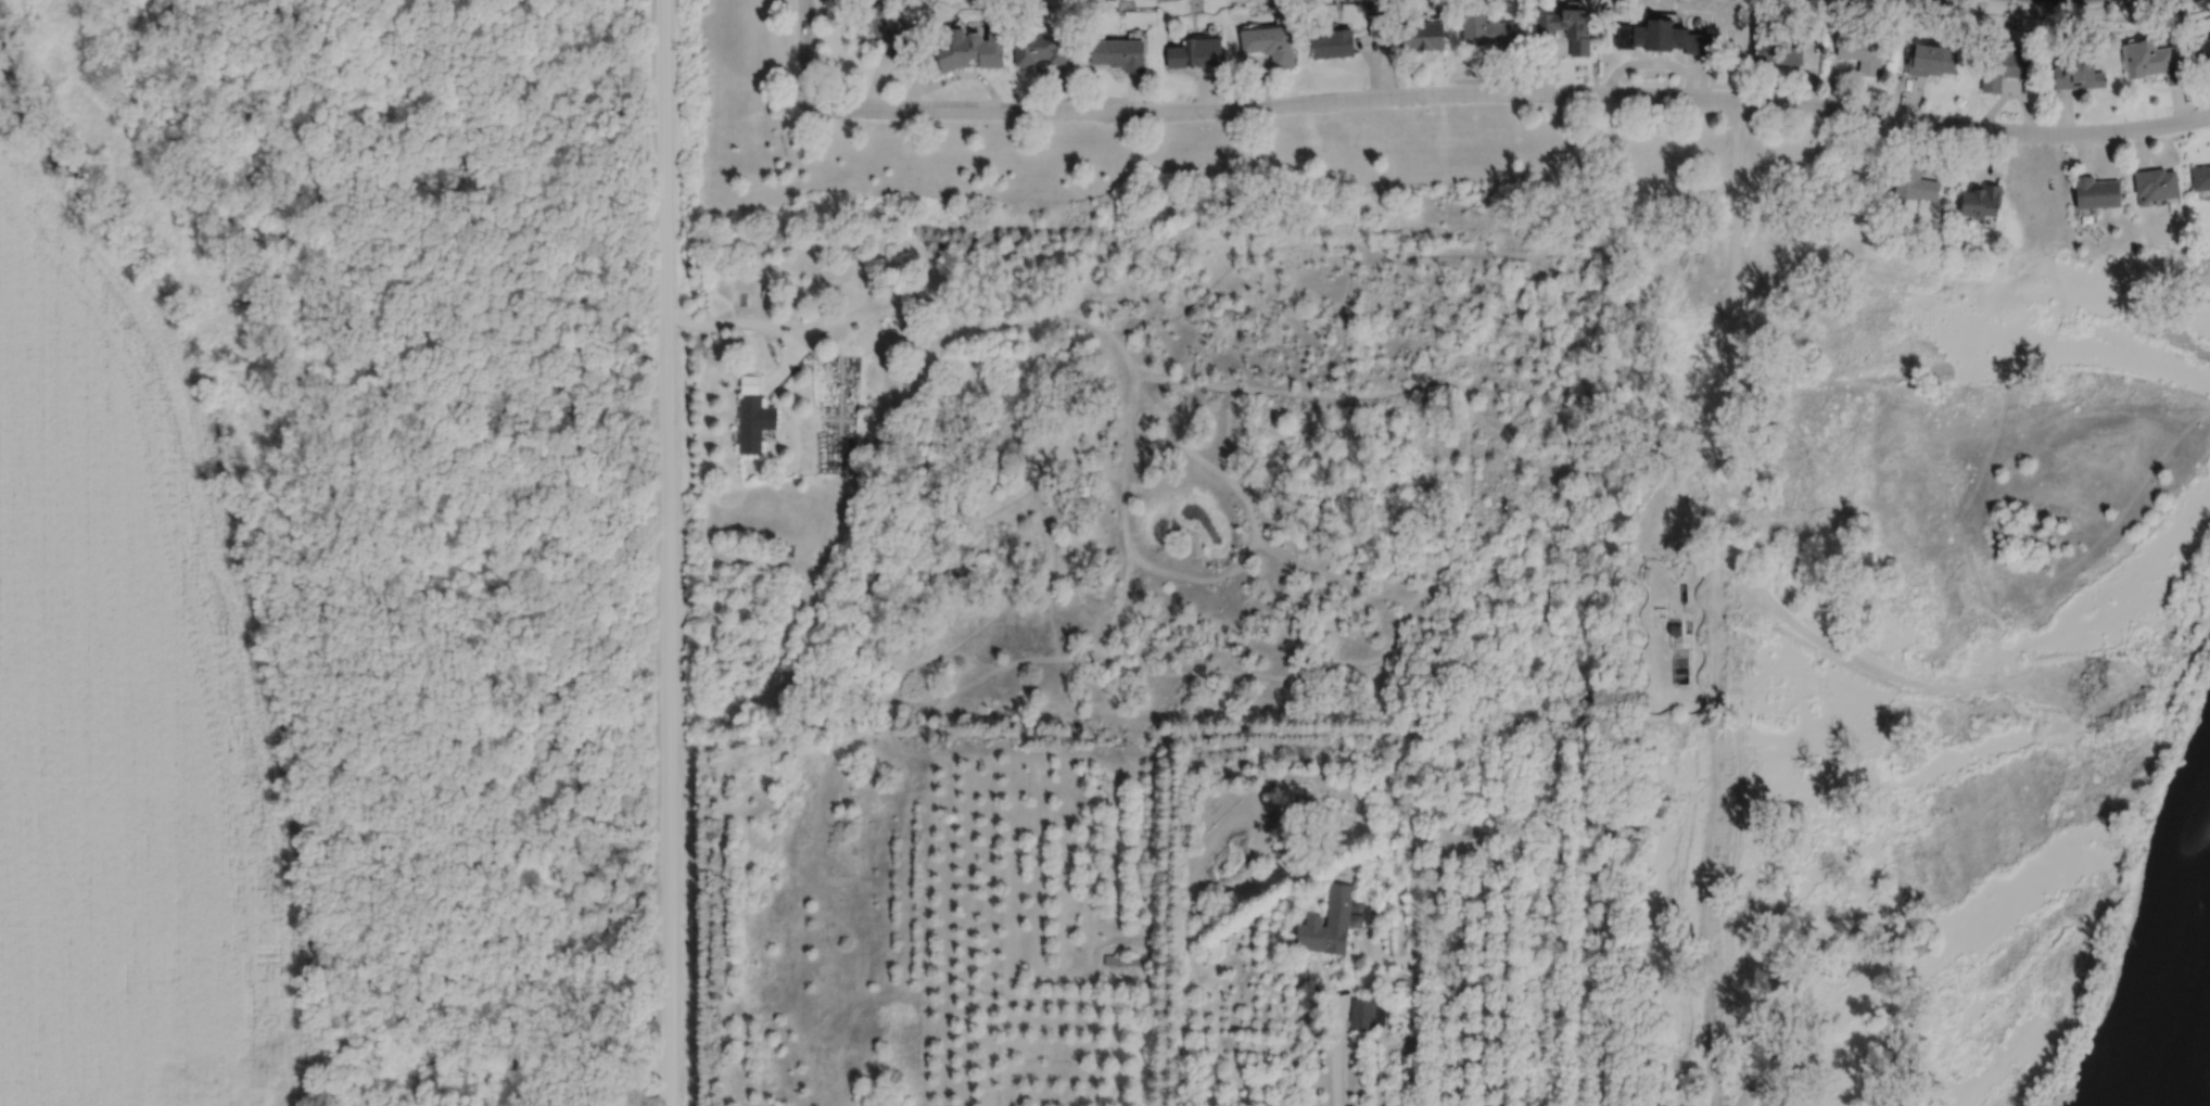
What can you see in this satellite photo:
building: (1371, 7)
building: (1432, 18)
building: (1282, 20)
building: (1699, 23)
building: (1491, 27)
building: (1567, 27)
building: (885, 31)
building: (1421, 31)
building: (1664, 36)
building: (1331, 40)
building: (1270, 43)
building: (1777, 46)
building: (2206, 48)
building: (970, 49)
building: (1042, 49)
road: (804, 50)
building: (1118, 51)
building: (1193, 51)
building: (1860, 51)
building: (1931, 55)
building: (2151, 58)
building: (2006, 64)
building: (2078, 69)
road: (1510, 90)
street lamp: (1591, 102)
street lamp: (1423, 104)
street lamp: (1758, 111)
street lamp: (818, 118)
street lamp: (1204, 119)
street lamp: (1040, 120)
street lamp: (1956, 134)
street lamp: (2123, 139)
building: (2200, 176)
building: (1915, 180)
building: (2155, 182)
building: (2096, 190)
building: (1981, 199)
building: (853, 245)
road: (855, 312)
road: (762, 322)
building: (854, 325)
building: (915, 327)
road: (1726, 345)
building: (749, 383)
building: (754, 421)
road: (666, 552)
building: (1675, 628)
crop: (117, 687)
building: (1468, 821)
building: (1499, 827)
building: (1357, 903)
building: (1356, 917)
building: (1328, 920)
building: (1122, 957)
road: (1343, 996)
building: (1367, 1012)
river: (2199, 1077)

